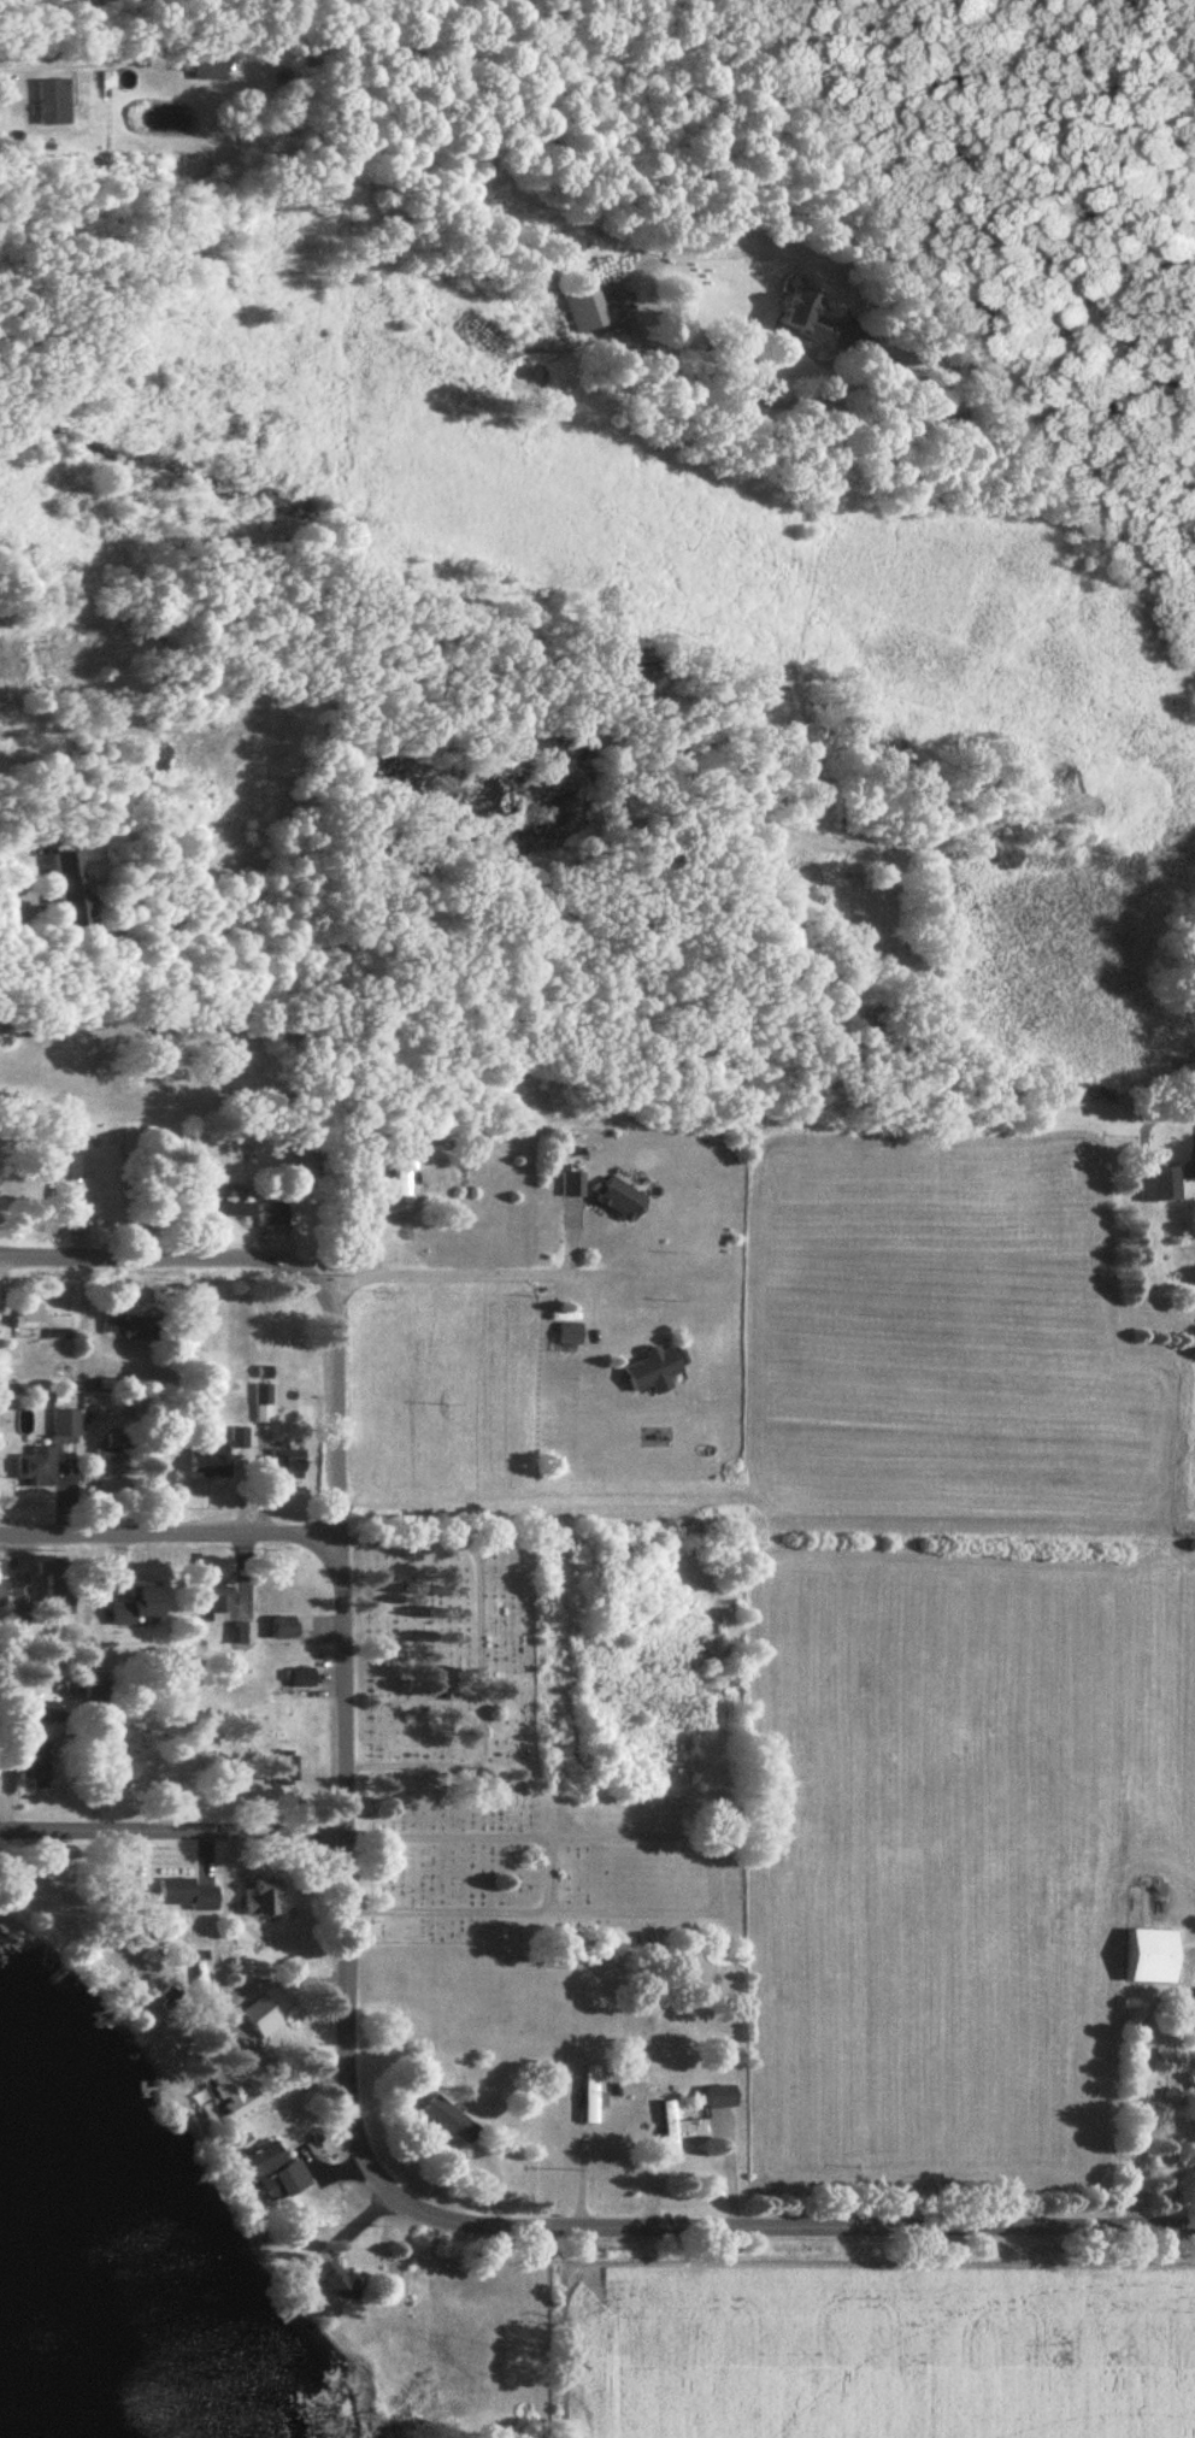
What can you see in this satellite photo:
building: (53, 101)
building: (582, 307)
building: (803, 313)
road: (893, 420)
building: (47, 655)
building: (205, 803)
building: (77, 889)
road: (889, 920)
road: (814, 974)
building: (134, 1142)
building: (406, 1178)
building: (1152, 1185)
building: (625, 1200)
building: (228, 1209)
building: (276, 1215)
road: (167, 1237)
road: (466, 1254)
road: (679, 1255)
building: (41, 1320)
building: (135, 1329)
building: (572, 1333)
building: (655, 1370)
building: (264, 1403)
building: (100, 1414)
building: (51, 1451)
building: (216, 1454)
building: (116, 1456)
building: (290, 1465)
road: (972, 1503)
road: (163, 1517)
road: (336, 1541)
building: (60, 1586)
building: (16, 1601)
building: (141, 1603)
building: (287, 1627)
building: (305, 1677)
building: (100, 1686)
building: (135, 1769)
building: (40, 1771)
park: (510, 1775)
road: (164, 1810)
building: (190, 1895)
building: (271, 1898)
building: (1141, 1934)
building: (259, 2013)
building: (1190, 2079)
building: (229, 2091)
building: (593, 2095)
building: (723, 2096)
building: (454, 2119)
building: (672, 2127)
building: (265, 2159)
road: (599, 2221)
building: (340, 2280)
road: (541, 2328)

